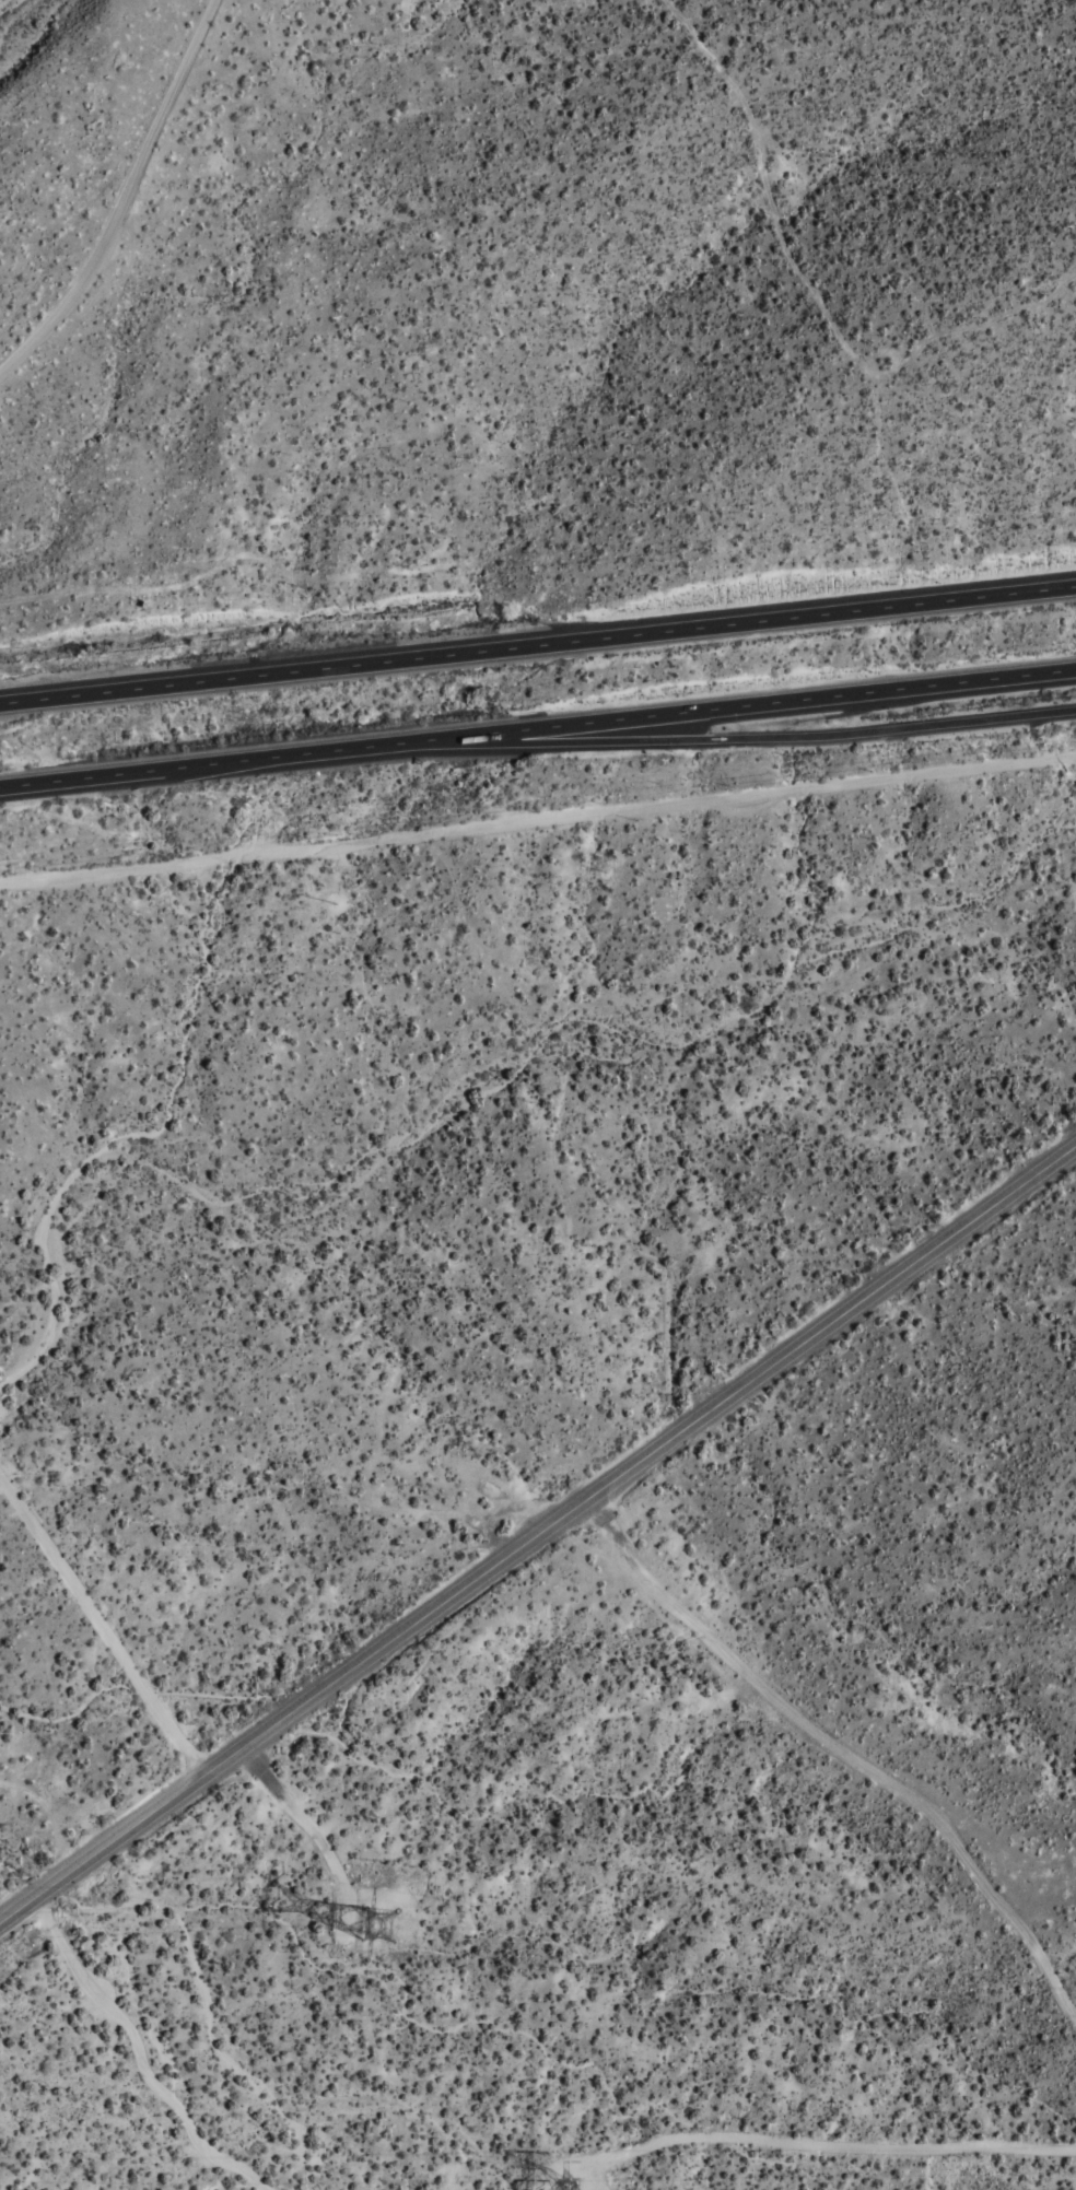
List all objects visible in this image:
road: (125, 197)
road: (538, 643)
road: (538, 734)
road: (774, 741)
road: (538, 823)
road: (538, 1534)
road: (101, 1621)
road: (840, 1754)
power tower: (383, 1925)
power tower: (563, 2183)

